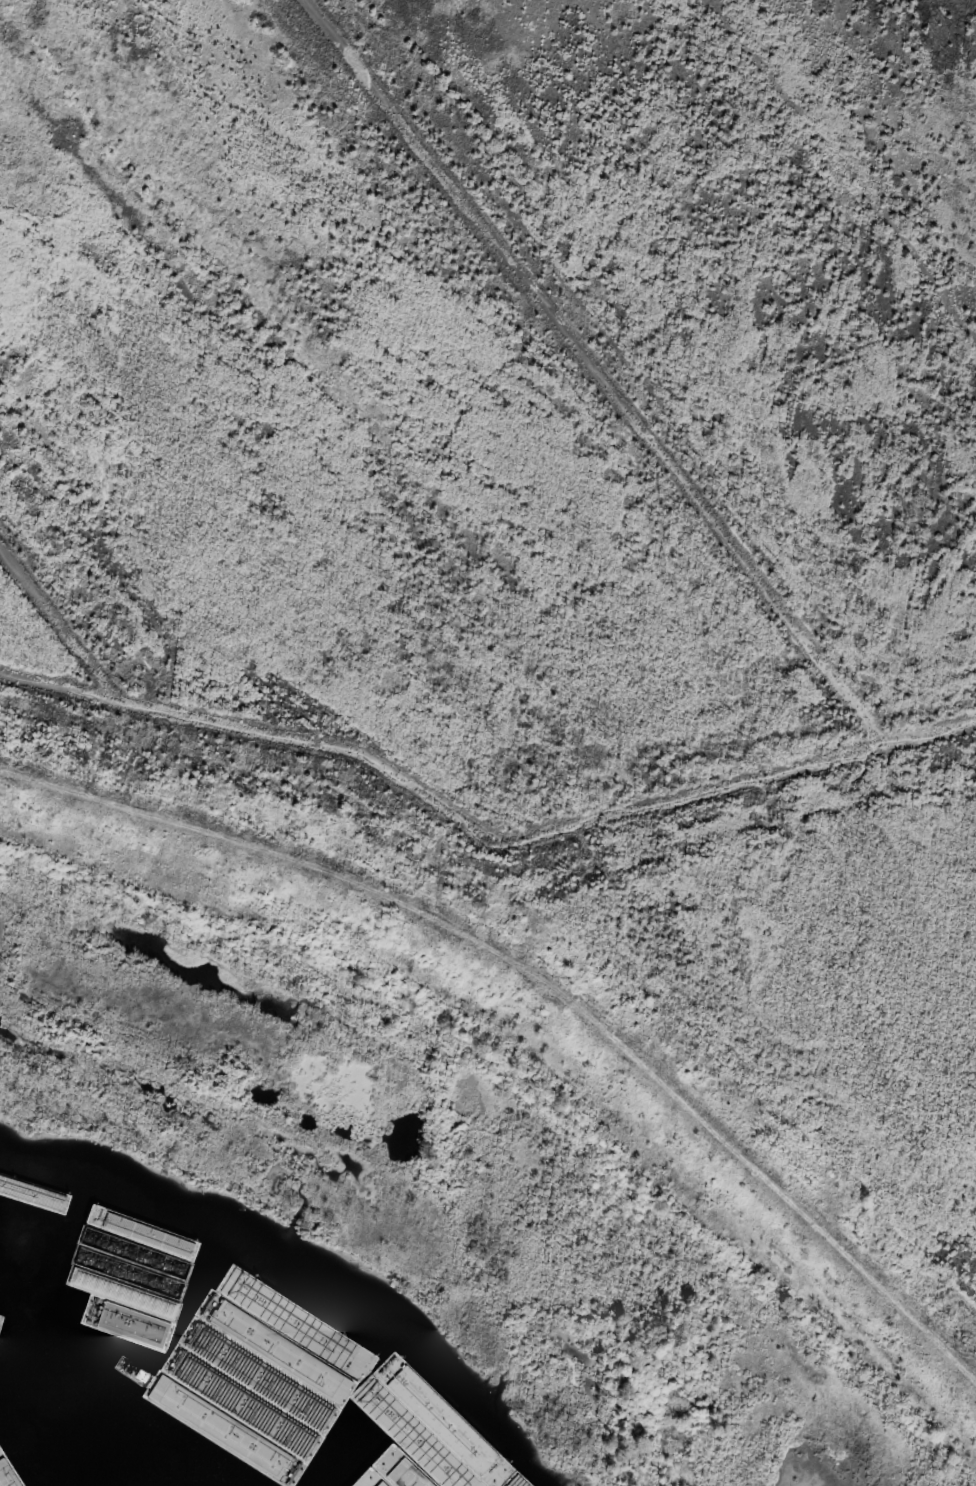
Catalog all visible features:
landfill: (511, 690)
building: (28, 1235)

